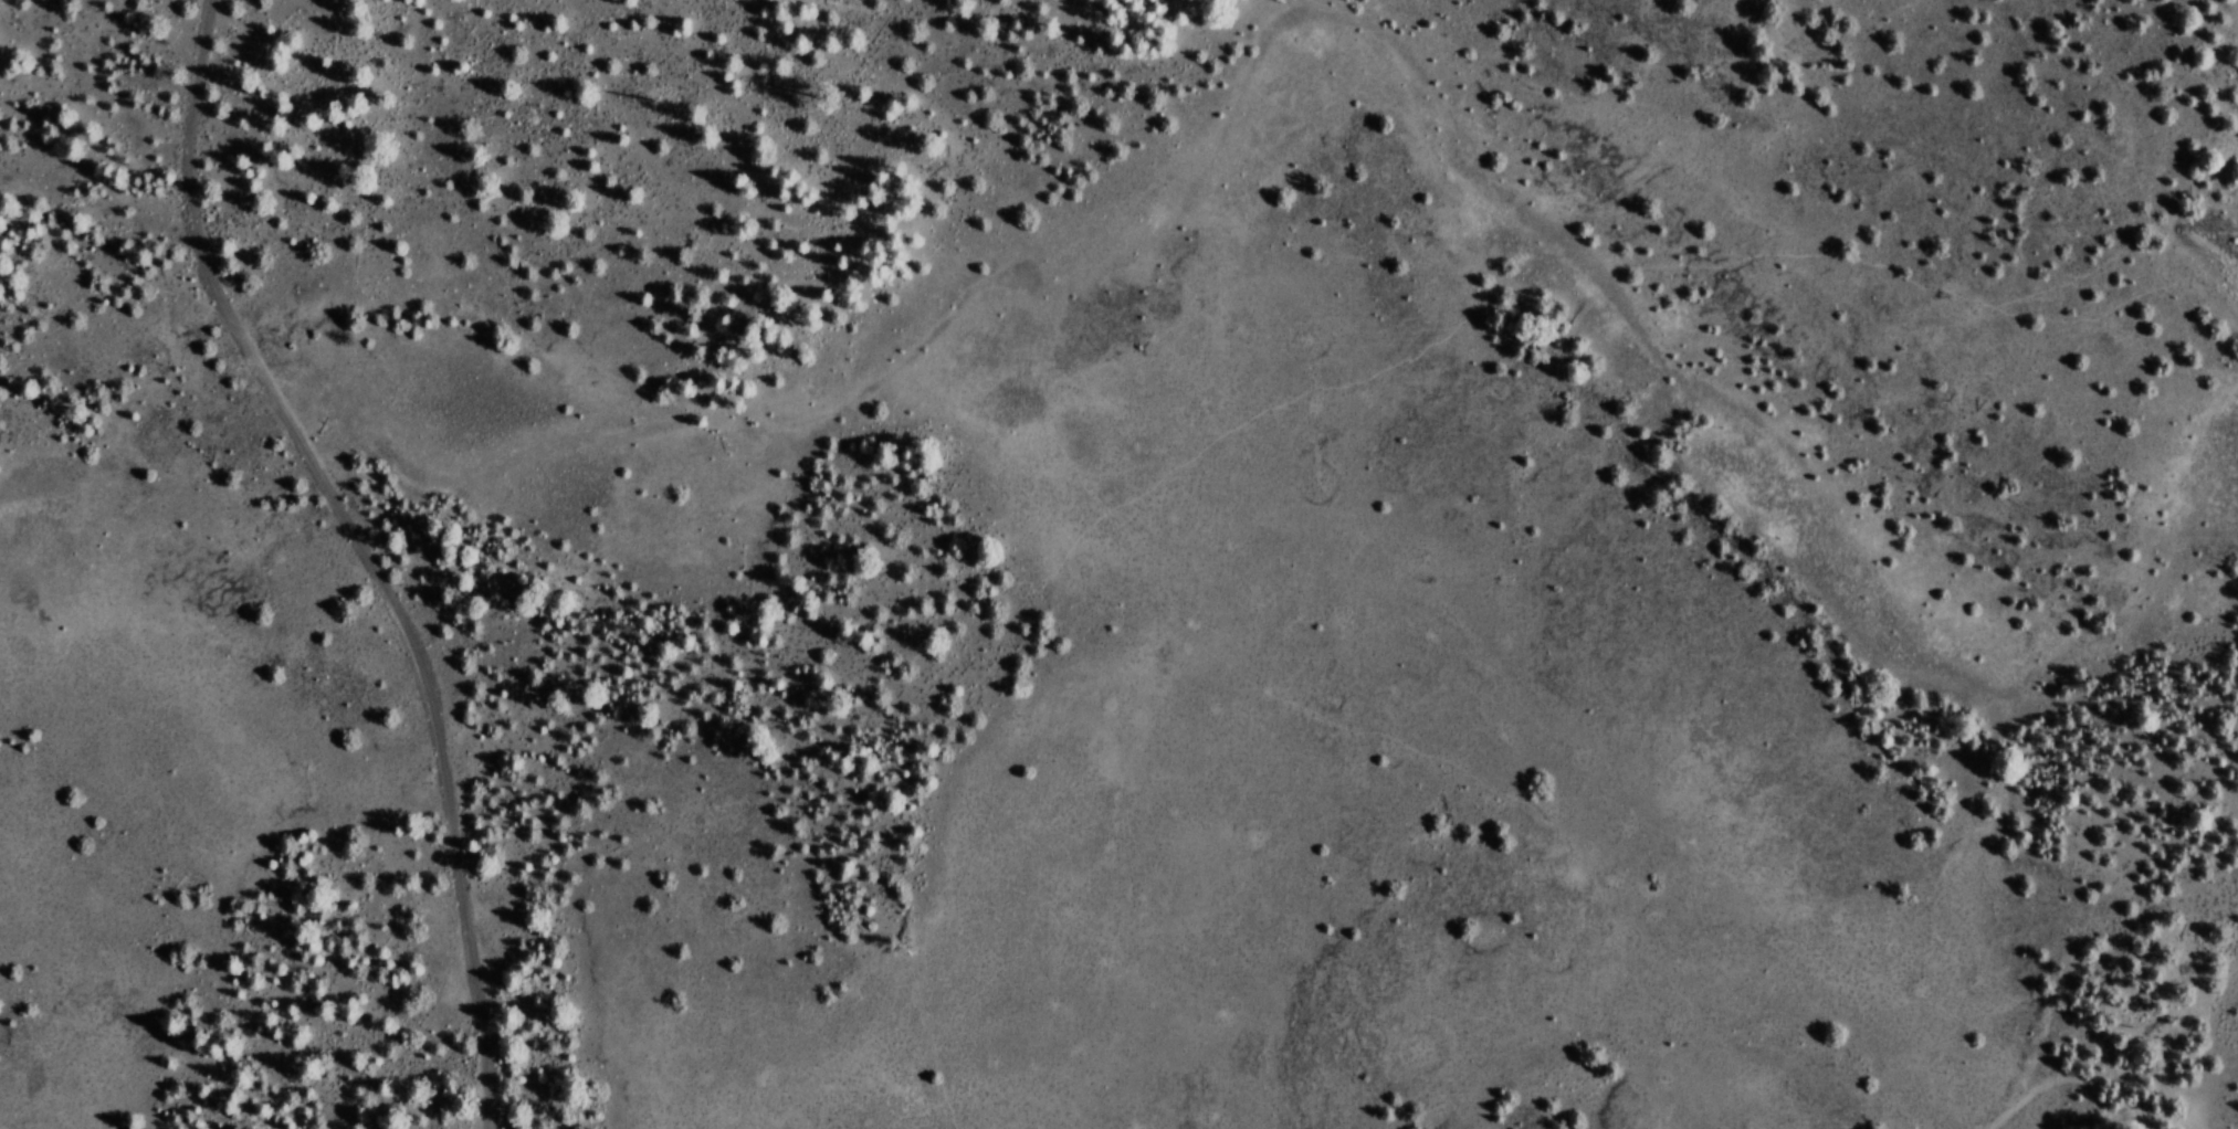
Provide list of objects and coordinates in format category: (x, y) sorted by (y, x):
dam: (2217, 226)
road: (366, 555)
road: (2133, 1076)

